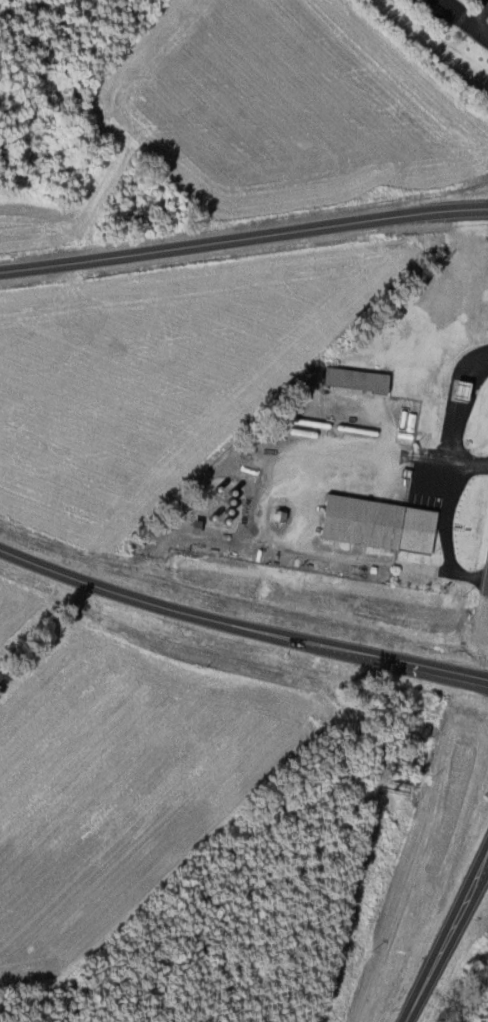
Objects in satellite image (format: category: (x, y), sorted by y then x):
building: (417, 1)
road: (435, 43)
road: (243, 236)
building: (454, 391)
building: (373, 525)
building: (122, 615)
road: (240, 626)
road: (444, 939)

